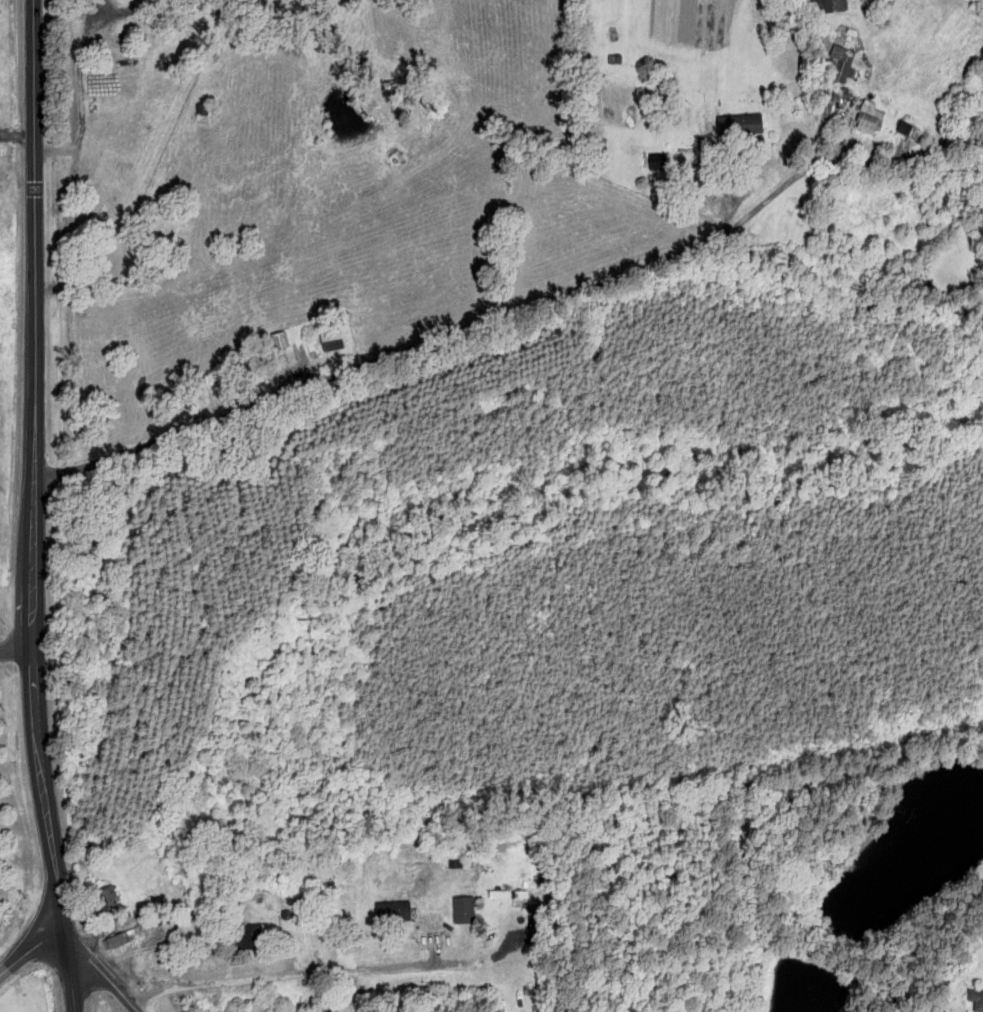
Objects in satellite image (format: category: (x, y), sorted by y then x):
building: (829, 5)
building: (839, 65)
building: (196, 110)
building: (870, 116)
building: (741, 123)
building: (905, 127)
building: (659, 160)
crop: (459, 176)
road: (35, 324)
building: (280, 339)
building: (333, 339)
road: (436, 341)
road: (17, 651)
road: (36, 716)
building: (507, 893)
road: (61, 896)
building: (109, 897)
building: (462, 909)
building: (391, 911)
building: (247, 936)
building: (113, 940)
road: (31, 949)
road: (327, 971)
road: (108, 977)
building: (976, 998)

